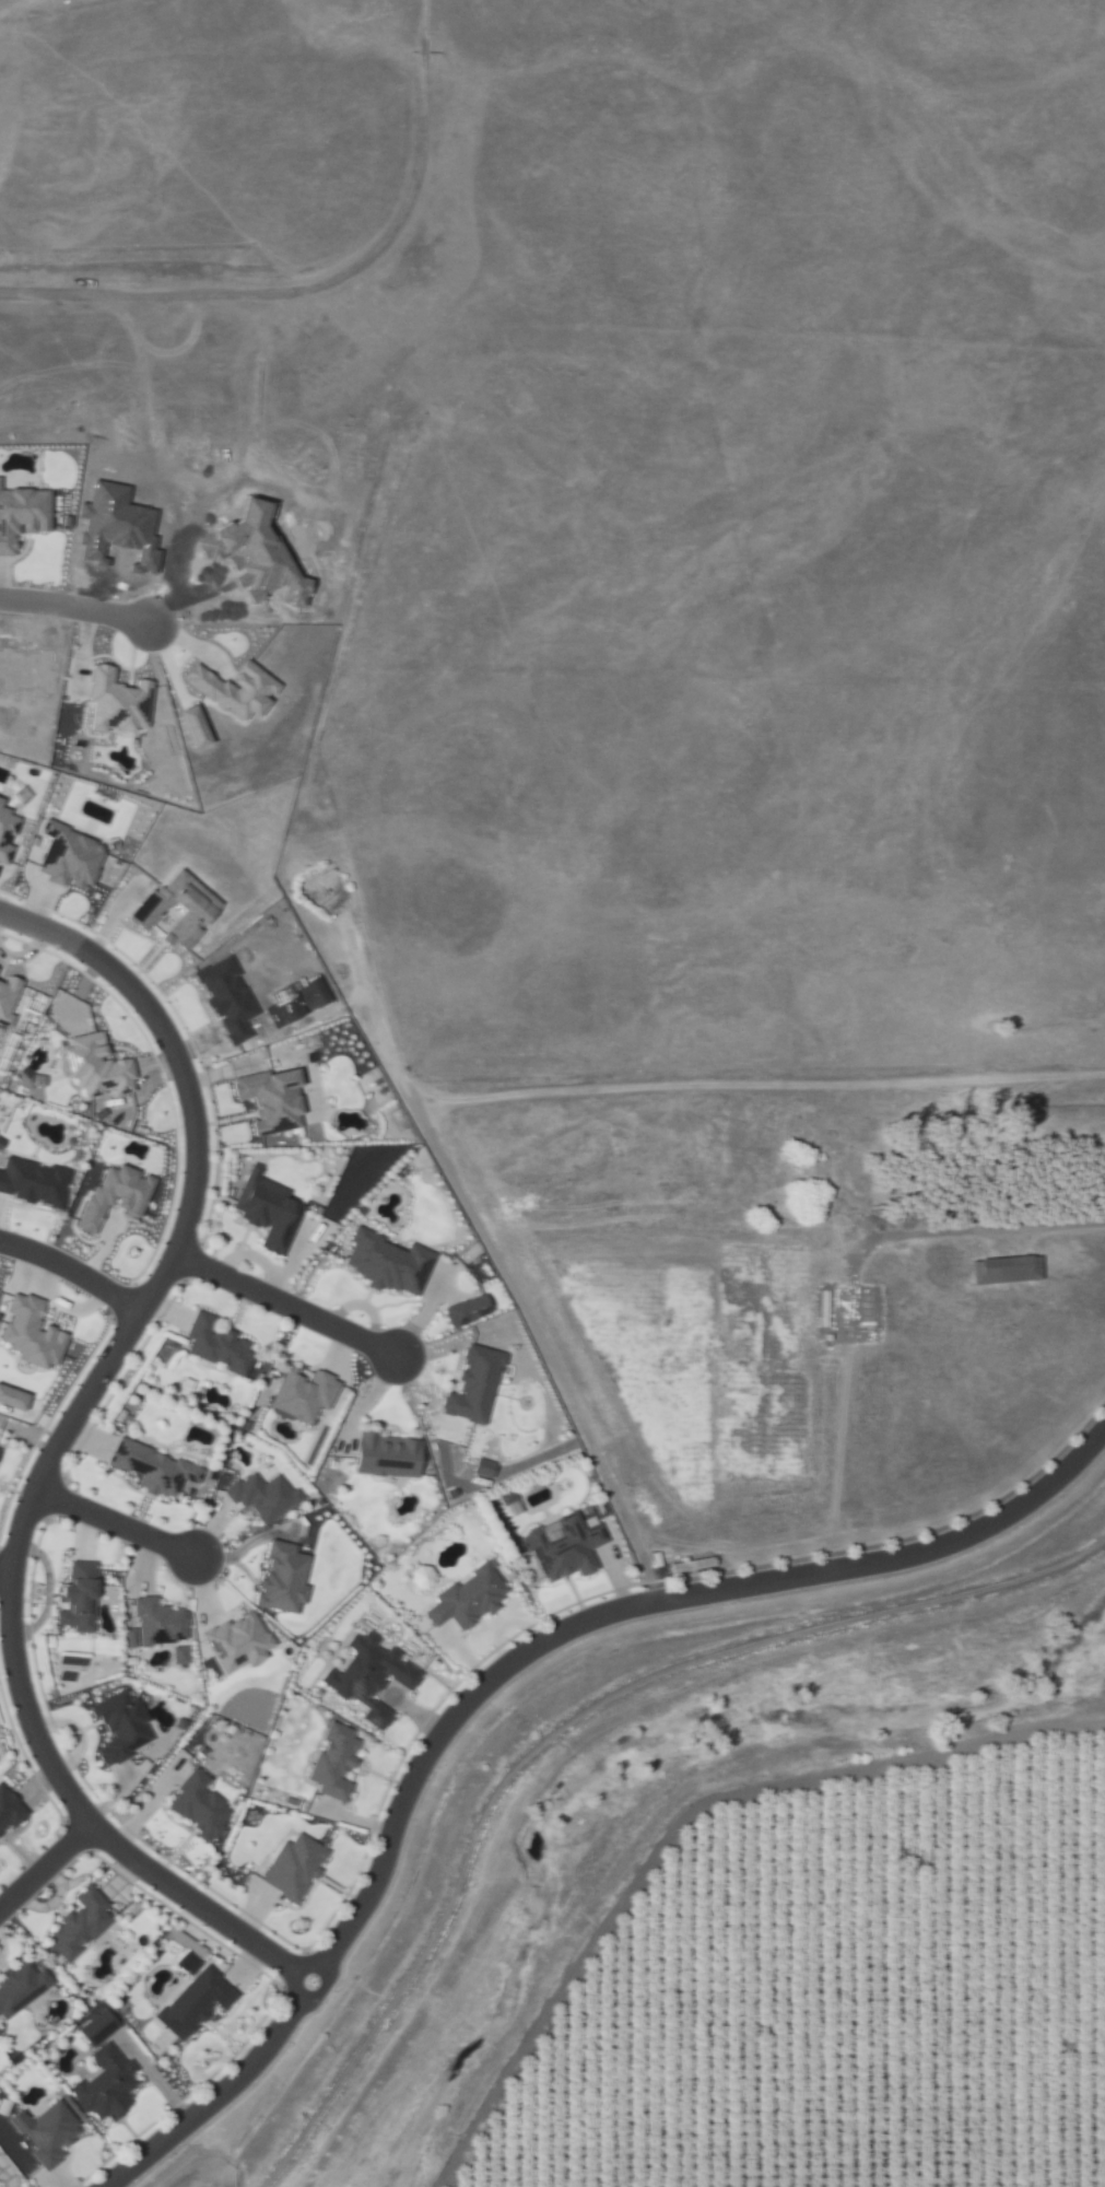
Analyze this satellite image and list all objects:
building: (23, 515)
road: (72, 608)
building: (237, 690)
building: (119, 701)
building: (70, 714)
building: (199, 727)
building: (7, 832)
building: (68, 857)
building: (180, 909)
road: (38, 929)
building: (0, 968)
building: (230, 997)
building: (9, 999)
building: (99, 1066)
building: (35, 1075)
building: (275, 1098)
building: (35, 1182)
building: (118, 1195)
building: (269, 1209)
building: (391, 1263)
road: (72, 1270)
building: (1003, 1271)
building: (0, 1293)
road: (285, 1305)
building: (470, 1310)
building: (34, 1333)
building: (220, 1345)
building: (477, 1387)
building: (308, 1395)
building: (14, 1399)
building: (0, 1449)
building: (390, 1455)
building: (485, 1466)
building: (155, 1469)
road: (34, 1489)
building: (265, 1496)
road: (115, 1523)
building: (568, 1547)
road: (5, 1568)
building: (285, 1579)
building: (424, 1579)
building: (80, 1595)
building: (471, 1598)
building: (164, 1627)
building: (132, 1638)
building: (240, 1642)
road: (503, 1671)
building: (374, 1676)
road: (571, 1721)
building: (125, 1727)
building: (331, 1762)
building: (197, 1805)
building: (8, 1810)
road: (45, 1867)
building: (291, 1867)
building: (78, 1922)
building: (186, 1963)
building: (19, 1986)
building: (191, 2002)
building: (94, 2027)
building: (104, 2083)
building: (48, 2133)

